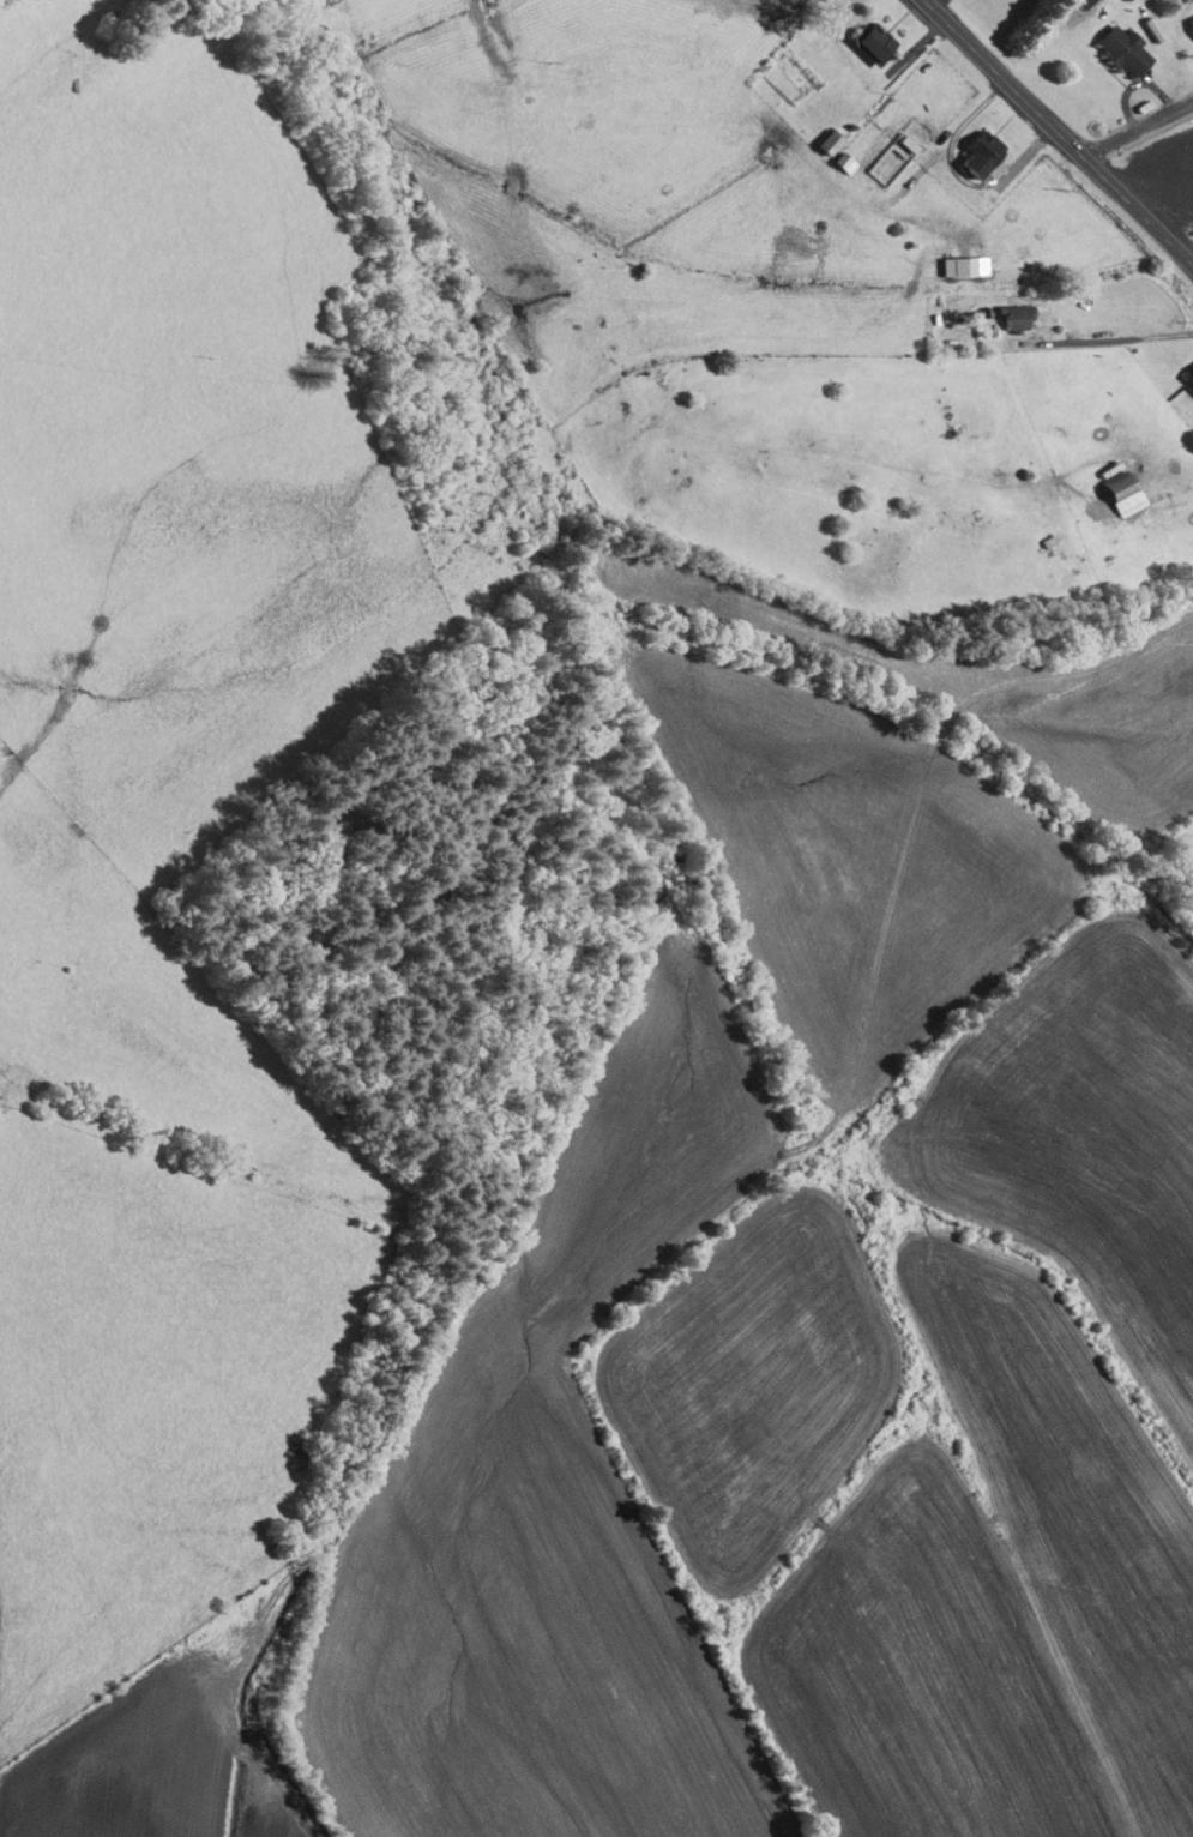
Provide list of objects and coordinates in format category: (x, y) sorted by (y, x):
road: (1138, 132)
road: (1058, 133)
road: (887, 969)

